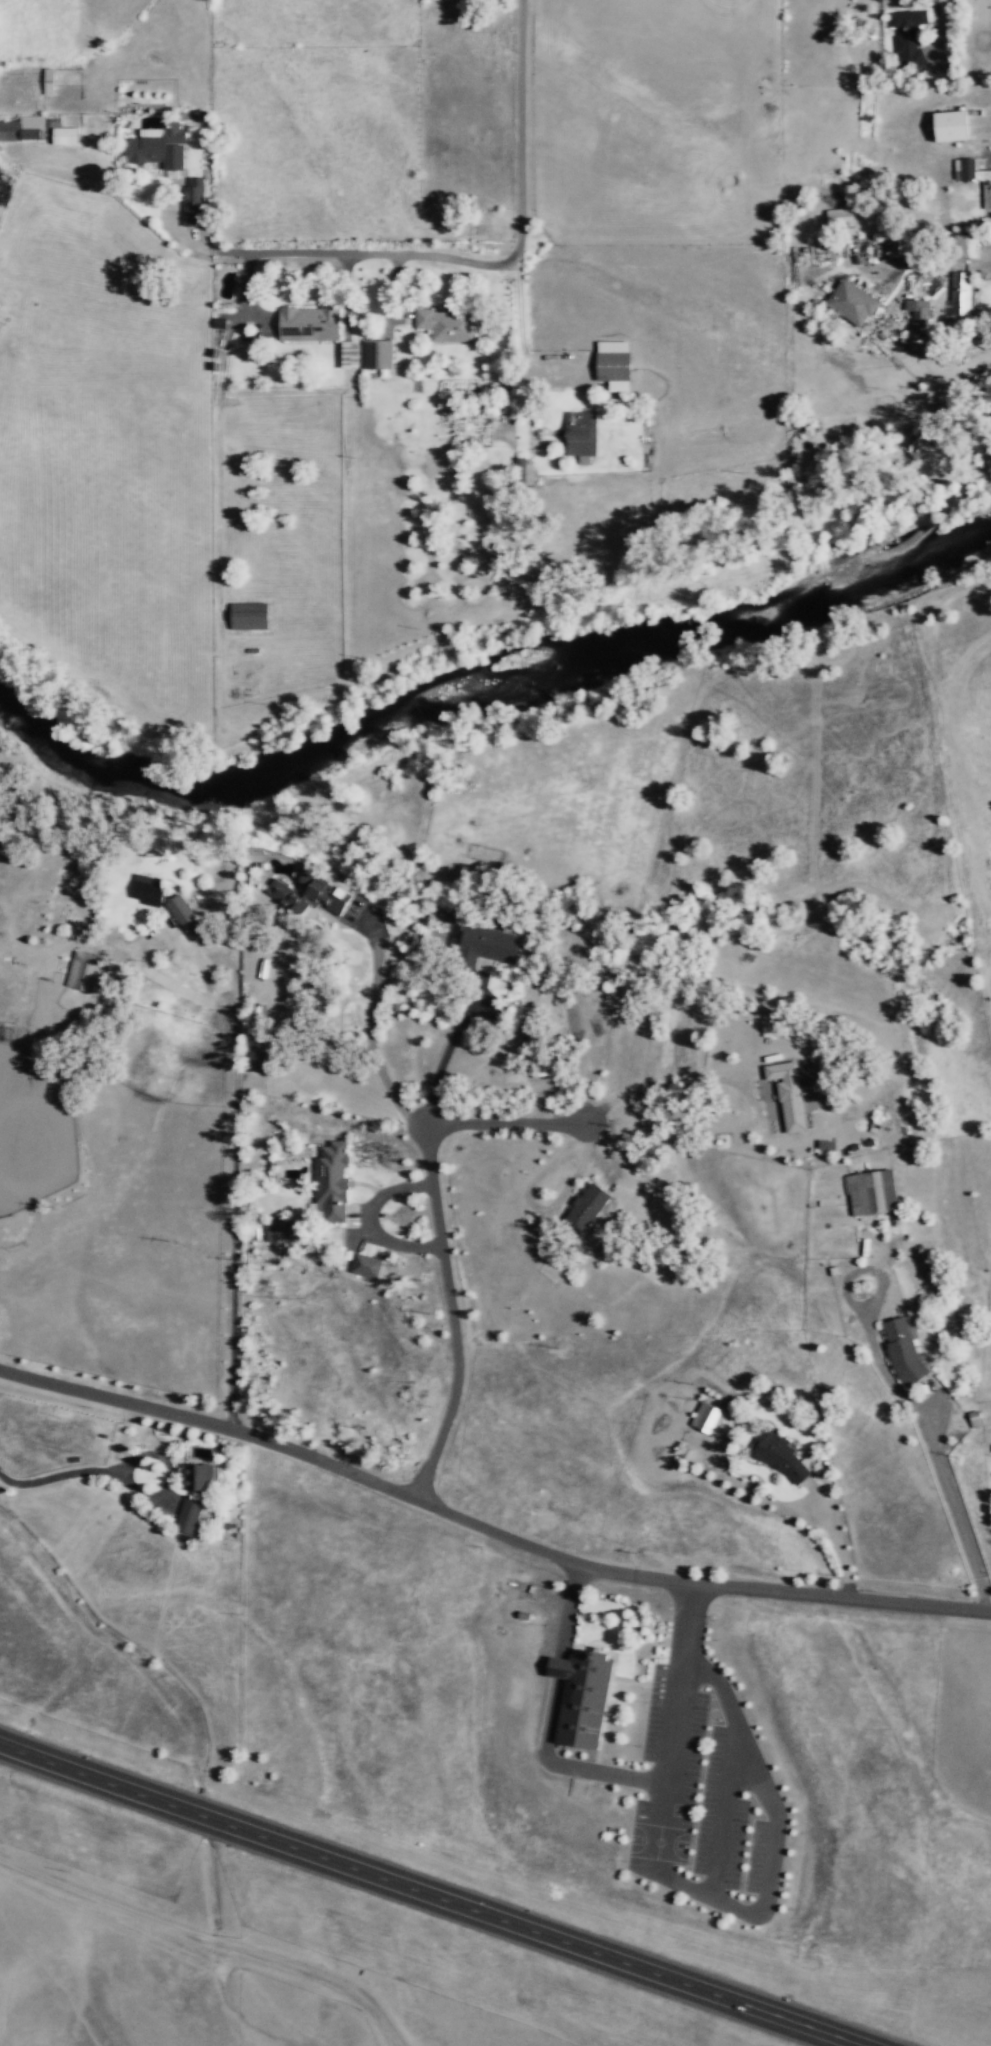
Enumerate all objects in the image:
building: (907, 37)
building: (46, 81)
building: (947, 126)
building: (21, 128)
building: (60, 133)
building: (155, 147)
building: (976, 178)
building: (190, 201)
building: (837, 217)
road: (337, 253)
road: (512, 267)
building: (958, 296)
building: (850, 302)
building: (917, 312)
building: (307, 323)
building: (374, 354)
building: (346, 355)
building: (610, 361)
building: (578, 431)
building: (246, 615)
river: (619, 647)
river: (113, 779)
building: (144, 888)
building: (322, 892)
building: (286, 896)
building: (181, 915)
building: (486, 941)
building: (82, 970)
building: (532, 1050)
building: (787, 1093)
road: (348, 1125)
road: (503, 1125)
building: (329, 1181)
building: (870, 1191)
building: (585, 1207)
building: (276, 1231)
building: (252, 1233)
building: (364, 1265)
road: (447, 1315)
building: (903, 1348)
building: (706, 1418)
building: (973, 1418)
building: (776, 1455)
building: (194, 1476)
building: (186, 1515)
road: (486, 1529)
building: (580, 1701)
road: (607, 1773)
park: (658, 1842)
road: (765, 1879)
road: (424, 1897)
road: (208, 1942)

